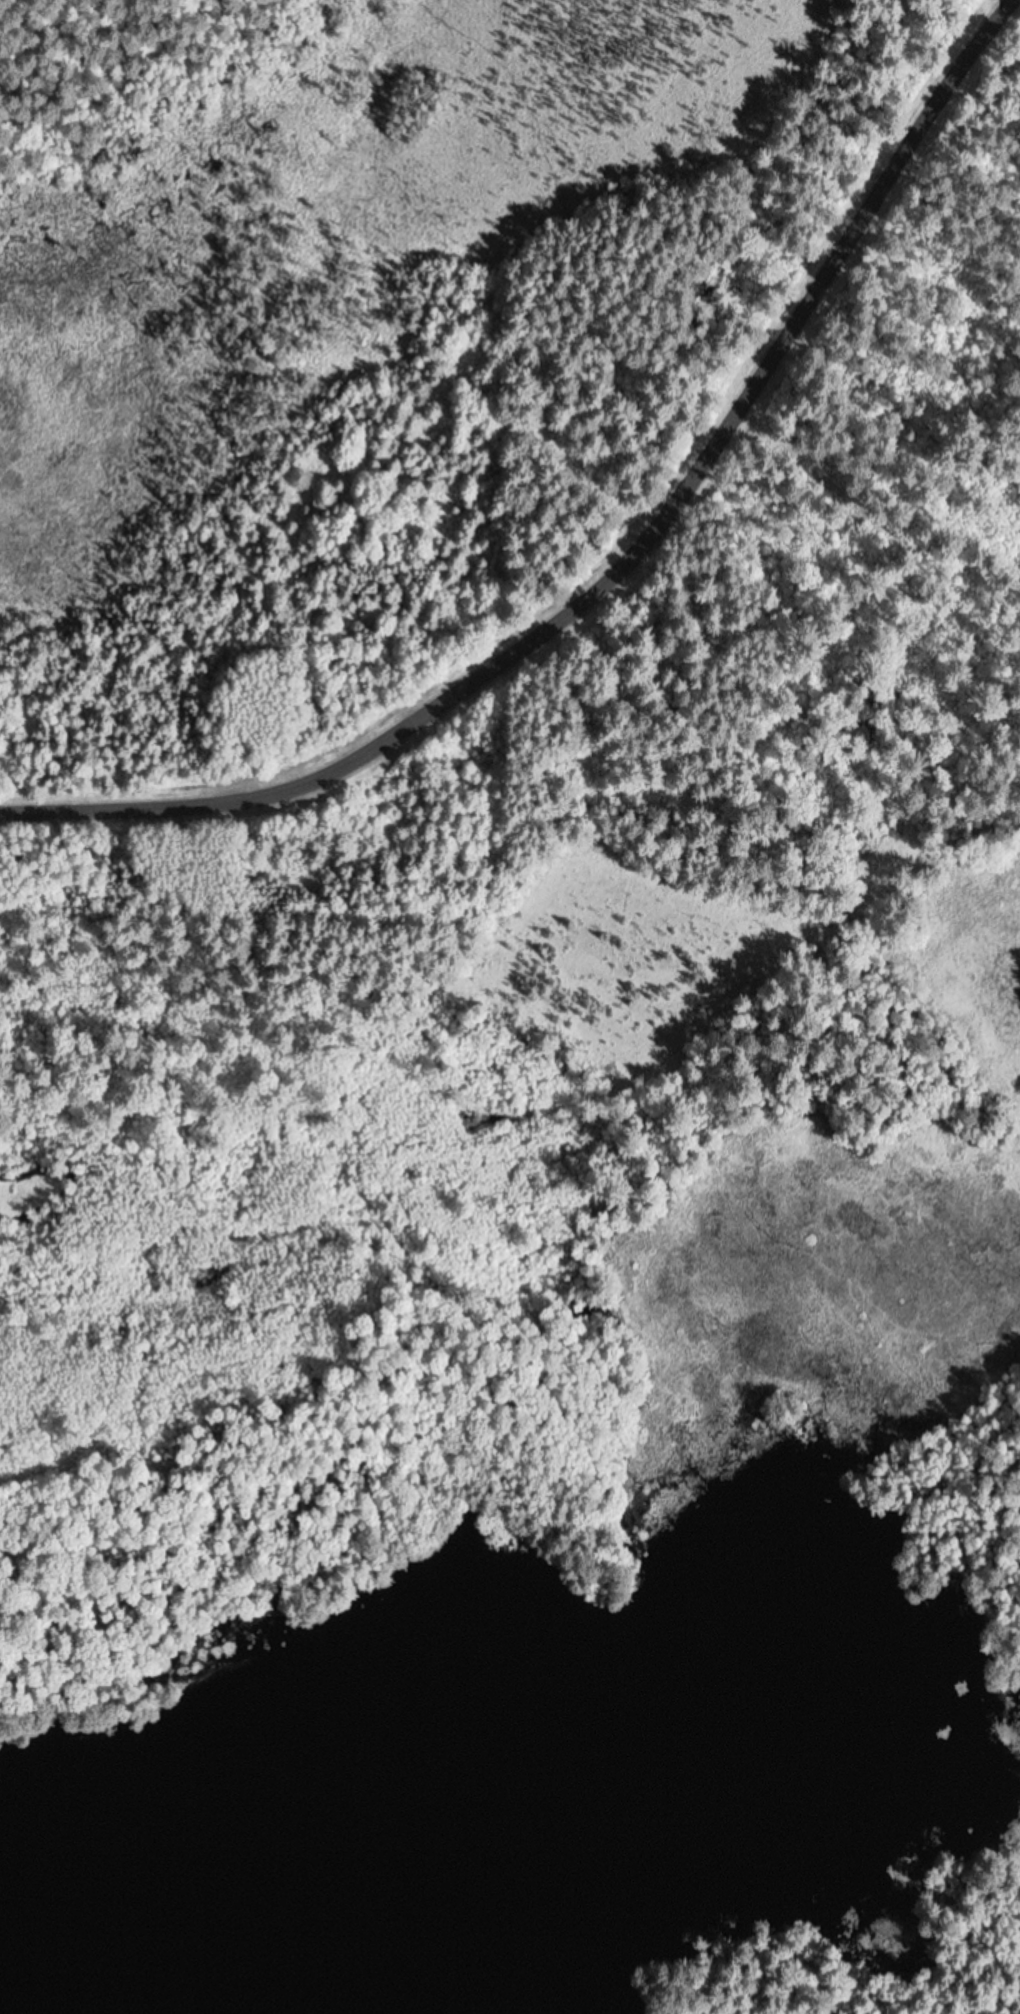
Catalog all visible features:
road: (621, 567)

